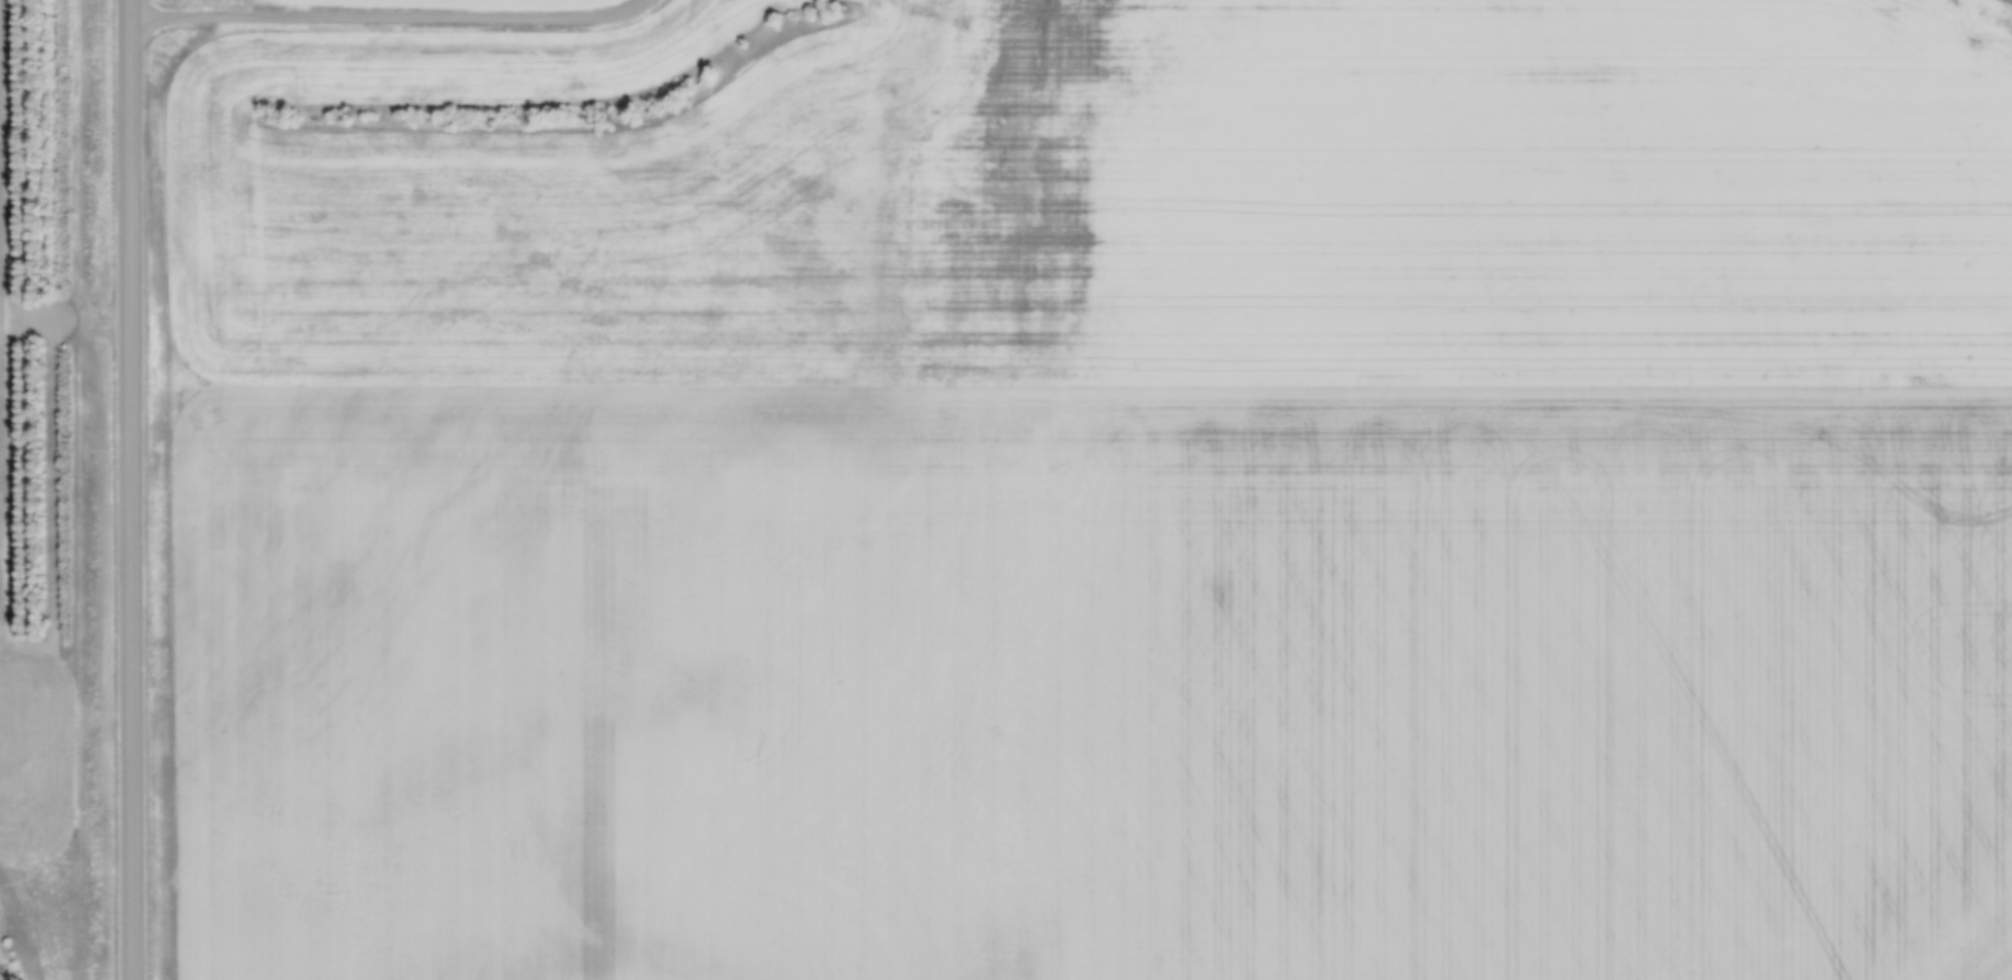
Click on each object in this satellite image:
road: (390, 19)
road: (128, 489)
road: (30, 915)

